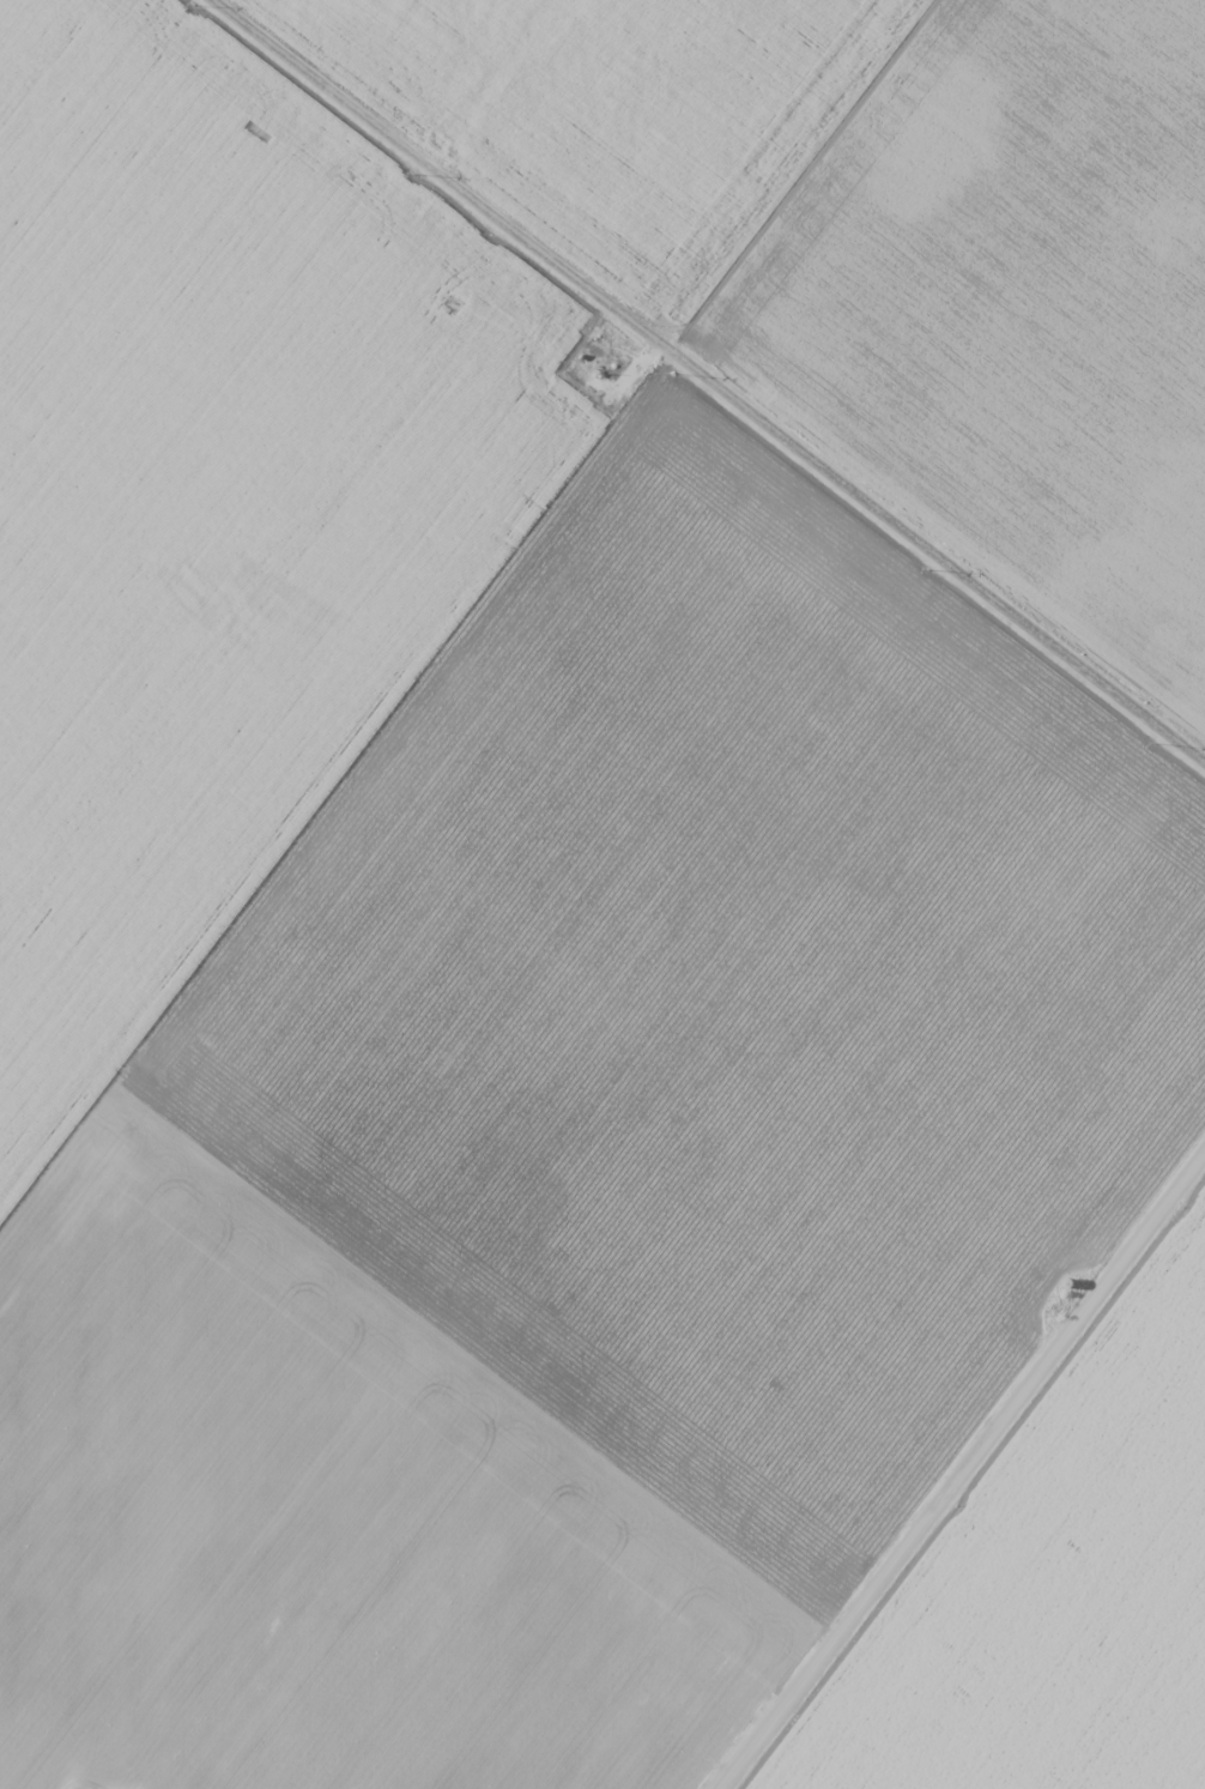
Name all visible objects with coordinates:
road: (713, 379)
road: (971, 1482)

